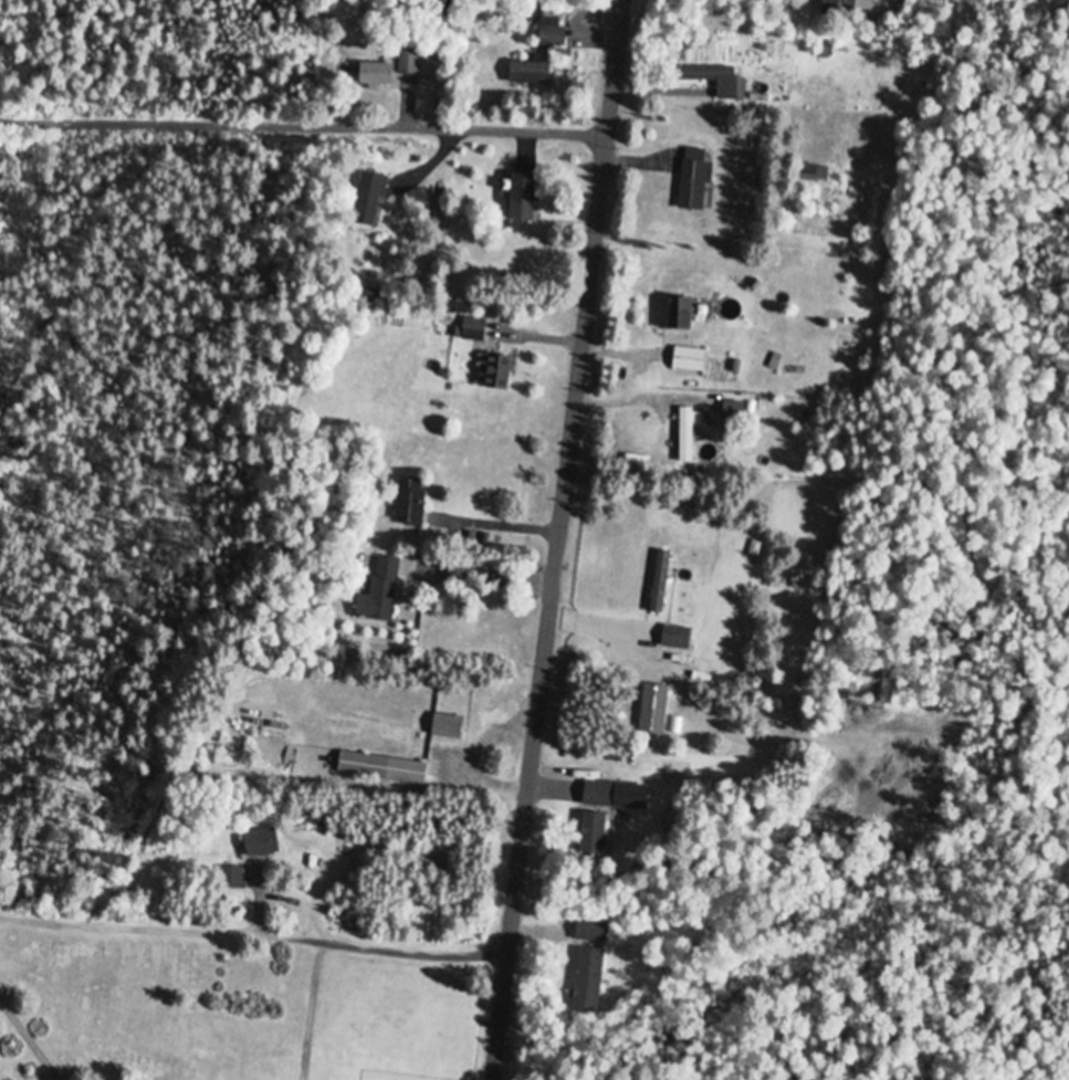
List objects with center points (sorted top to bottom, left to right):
building: (839, 6)
building: (552, 33)
building: (390, 69)
building: (528, 74)
building: (713, 80)
road: (386, 132)
building: (813, 174)
building: (694, 180)
building: (521, 198)
building: (369, 199)
building: (674, 313)
building: (472, 329)
building: (688, 360)
building: (494, 373)
building: (732, 412)
building: (685, 437)
building: (410, 502)
road: (558, 539)
building: (660, 583)
building: (379, 593)
building: (675, 638)
building: (652, 710)
building: (447, 727)
building: (381, 769)
building: (599, 794)
building: (594, 835)
building: (261, 843)
building: (230, 879)
park: (160, 881)
building: (590, 931)
building: (587, 982)

